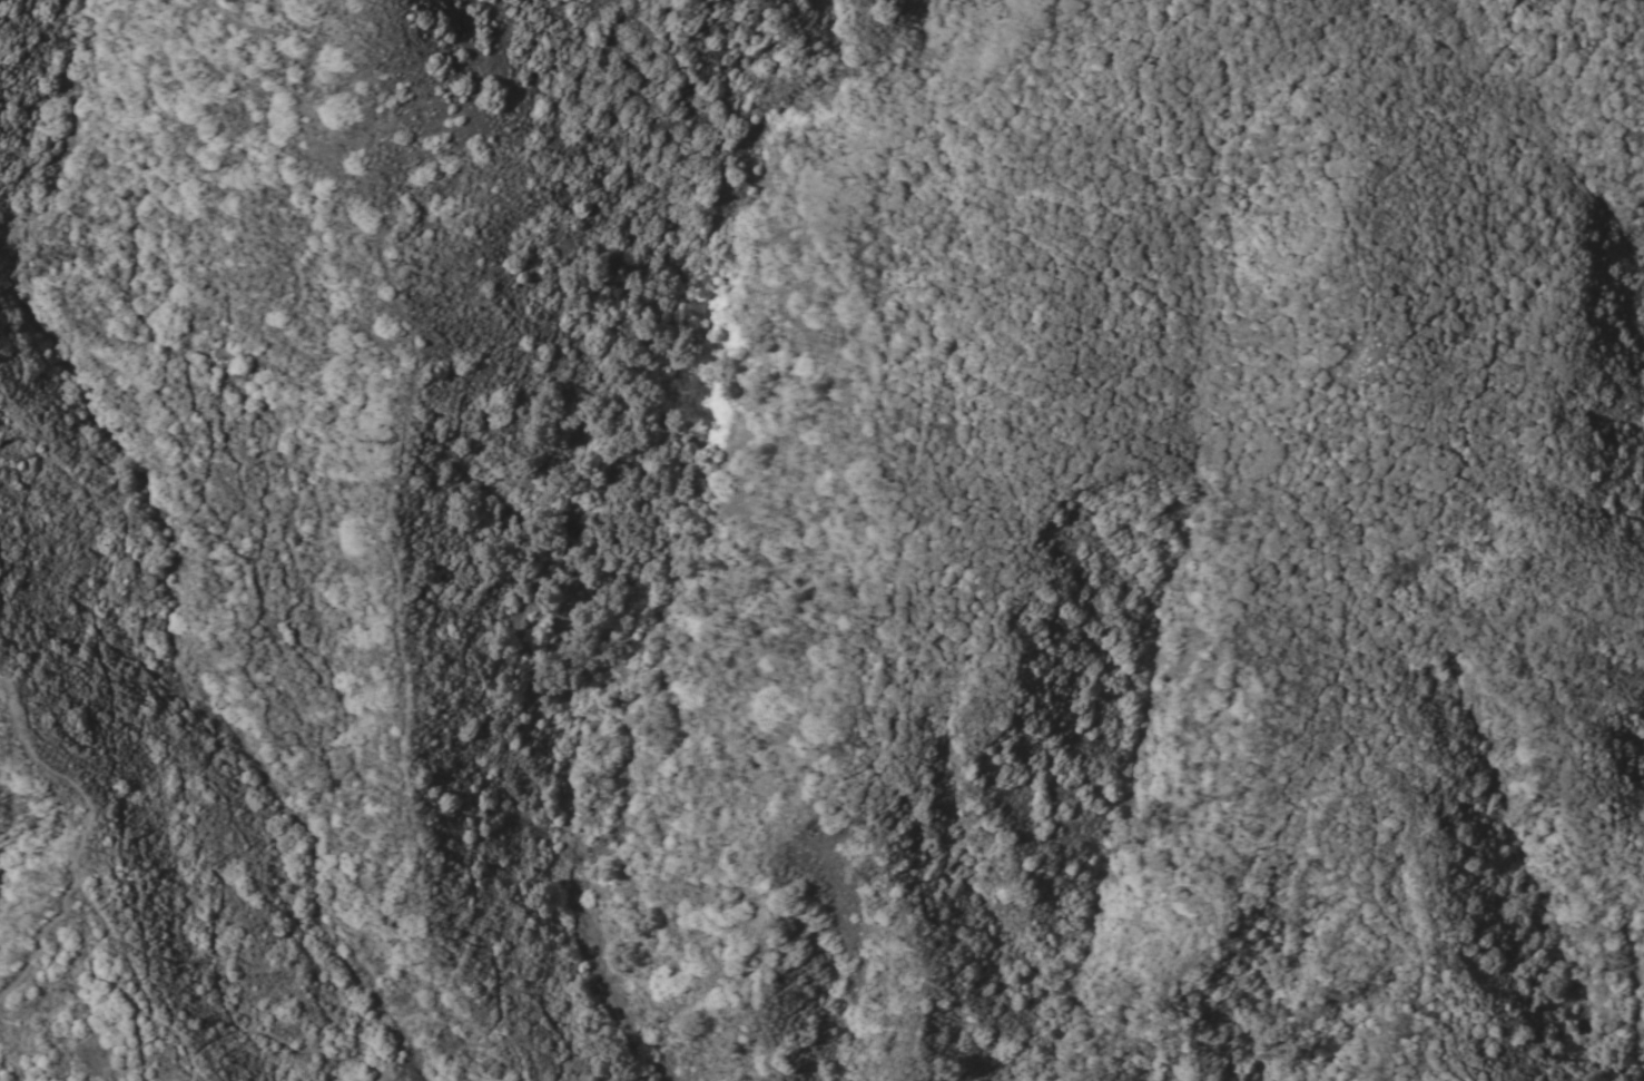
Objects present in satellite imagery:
park: (823, 540)
road: (483, 1032)
road: (398, 1034)

